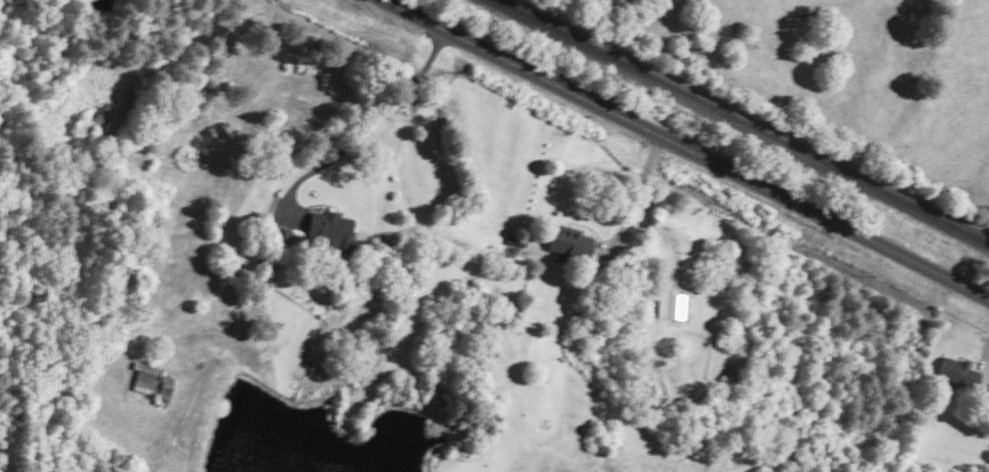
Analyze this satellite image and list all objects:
road: (173, 44)
railway: (745, 120)
building: (90, 122)
road: (369, 124)
road: (689, 148)
road: (640, 187)
building: (331, 231)
building: (281, 235)
building: (569, 244)
building: (669, 305)
building: (957, 371)
building: (152, 380)

